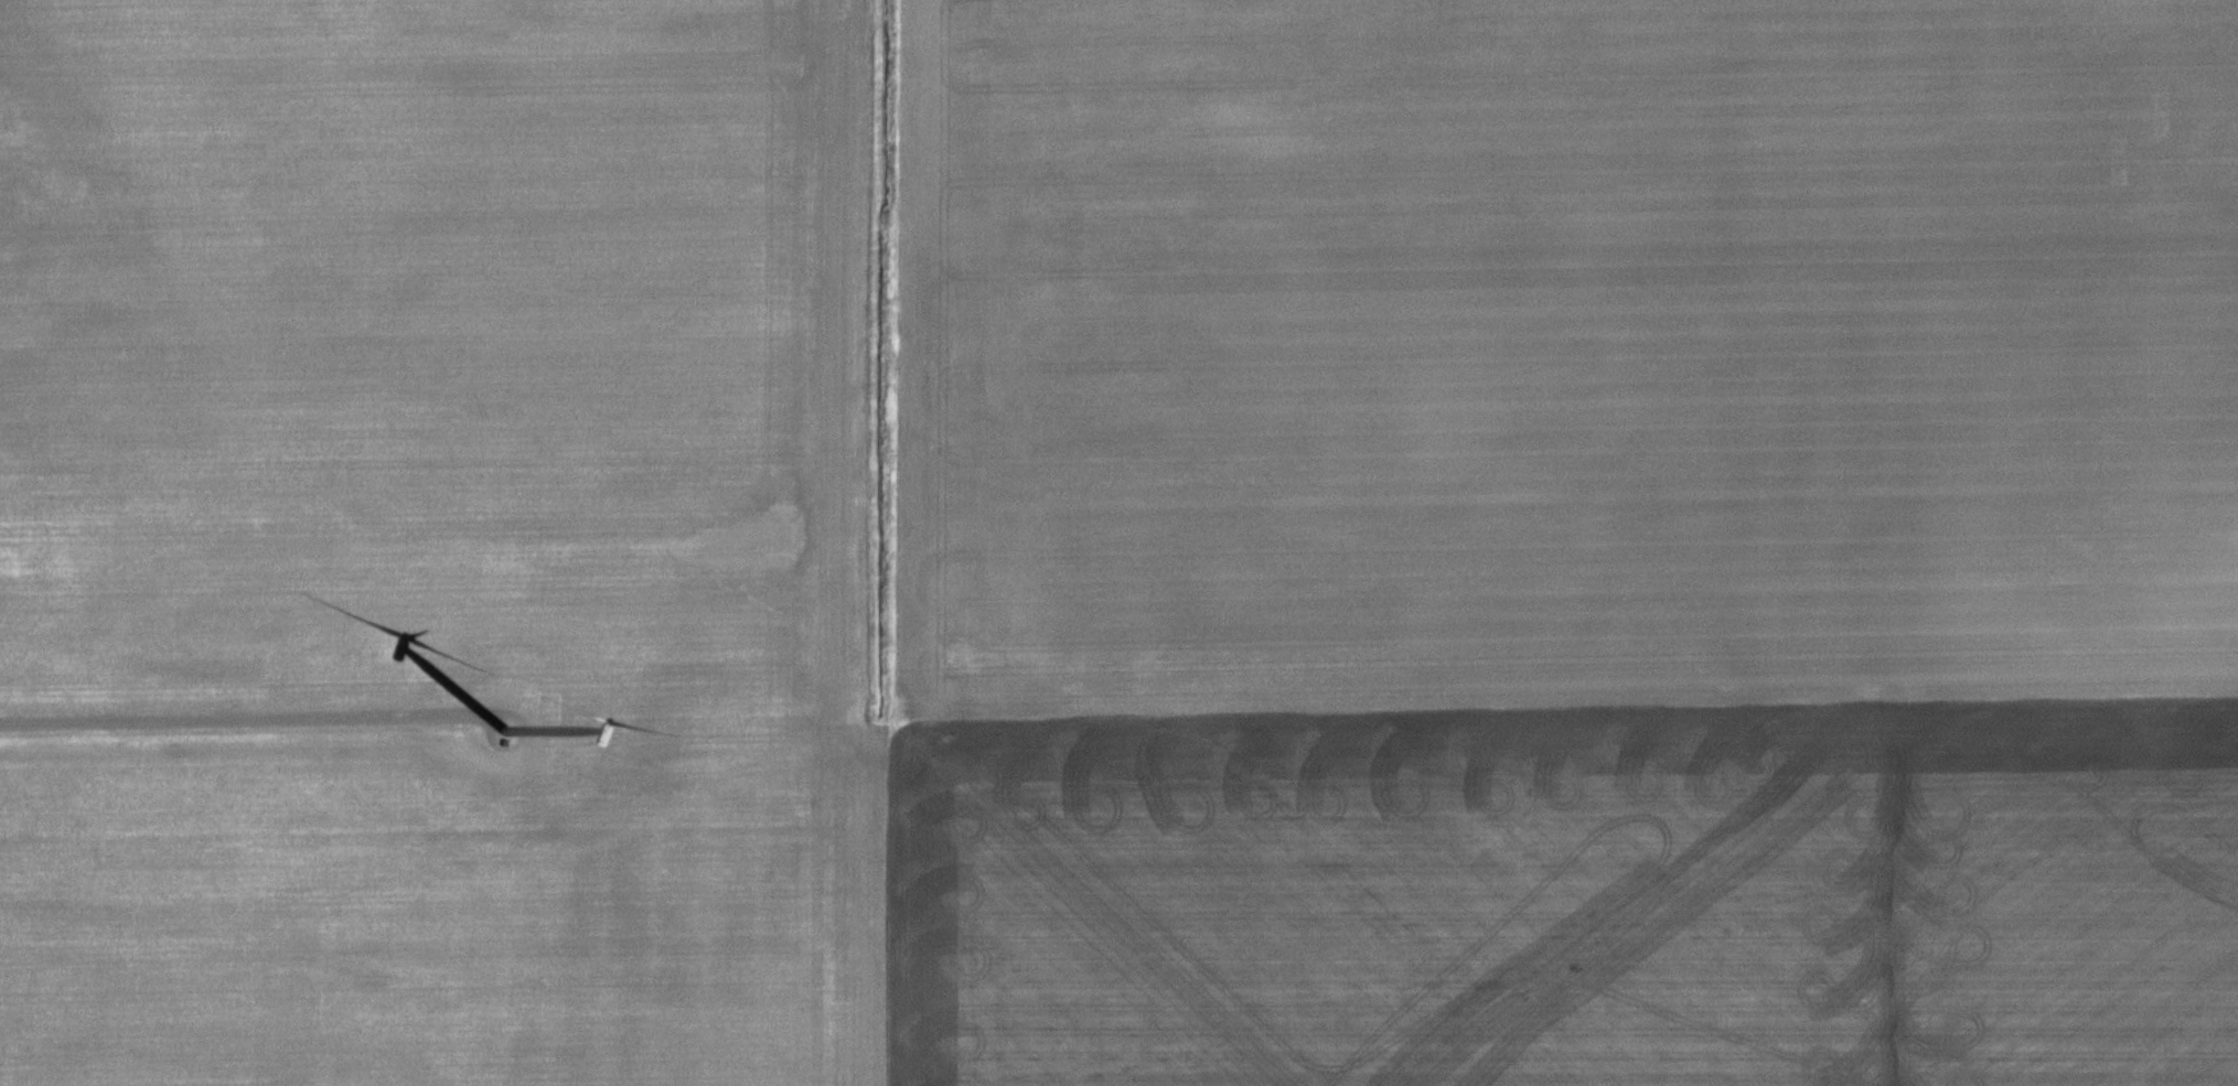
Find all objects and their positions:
road: (185, 720)
wind turbine: (446, 723)

